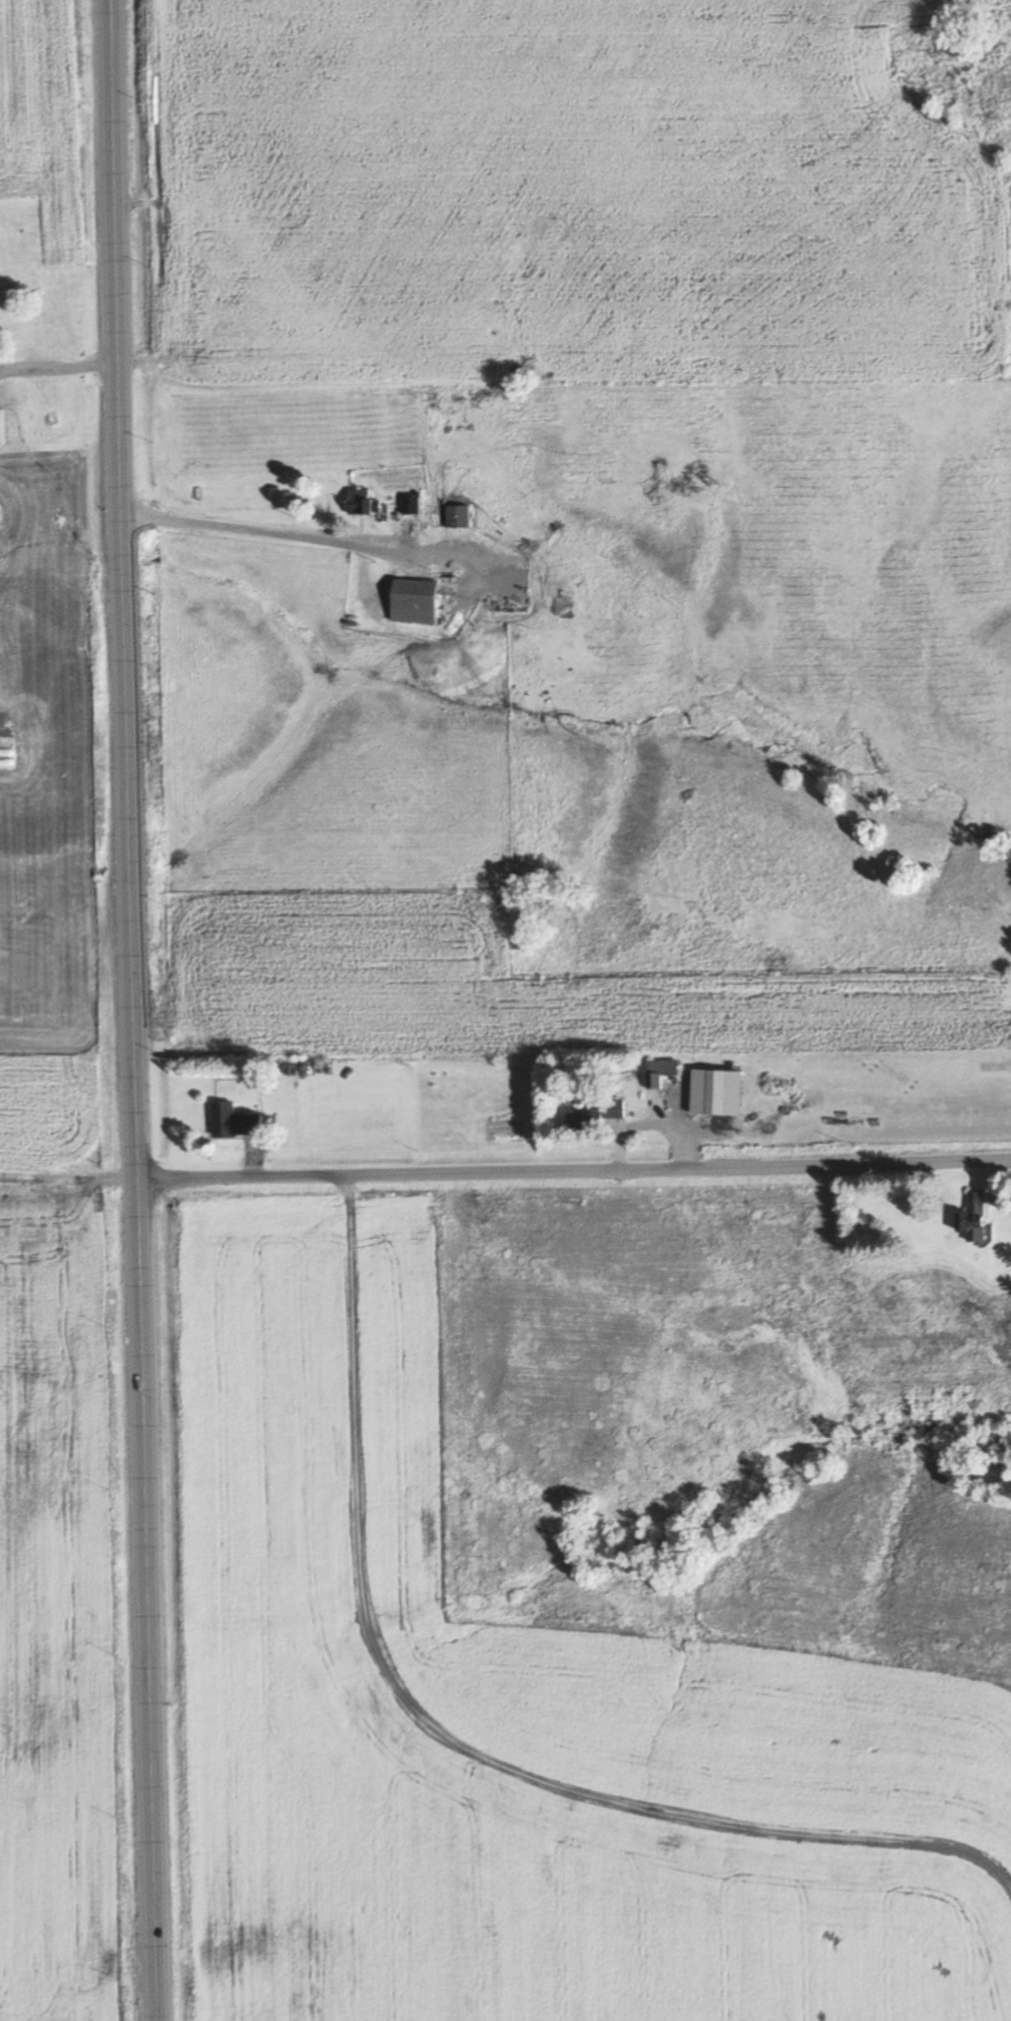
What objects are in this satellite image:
building: (37, 335)
road: (56, 367)
building: (361, 503)
building: (416, 508)
building: (458, 517)
road: (266, 528)
building: (414, 602)
road: (128, 1010)
building: (660, 1072)
building: (596, 1117)
building: (234, 1121)
road: (572, 1174)
building: (975, 1219)

